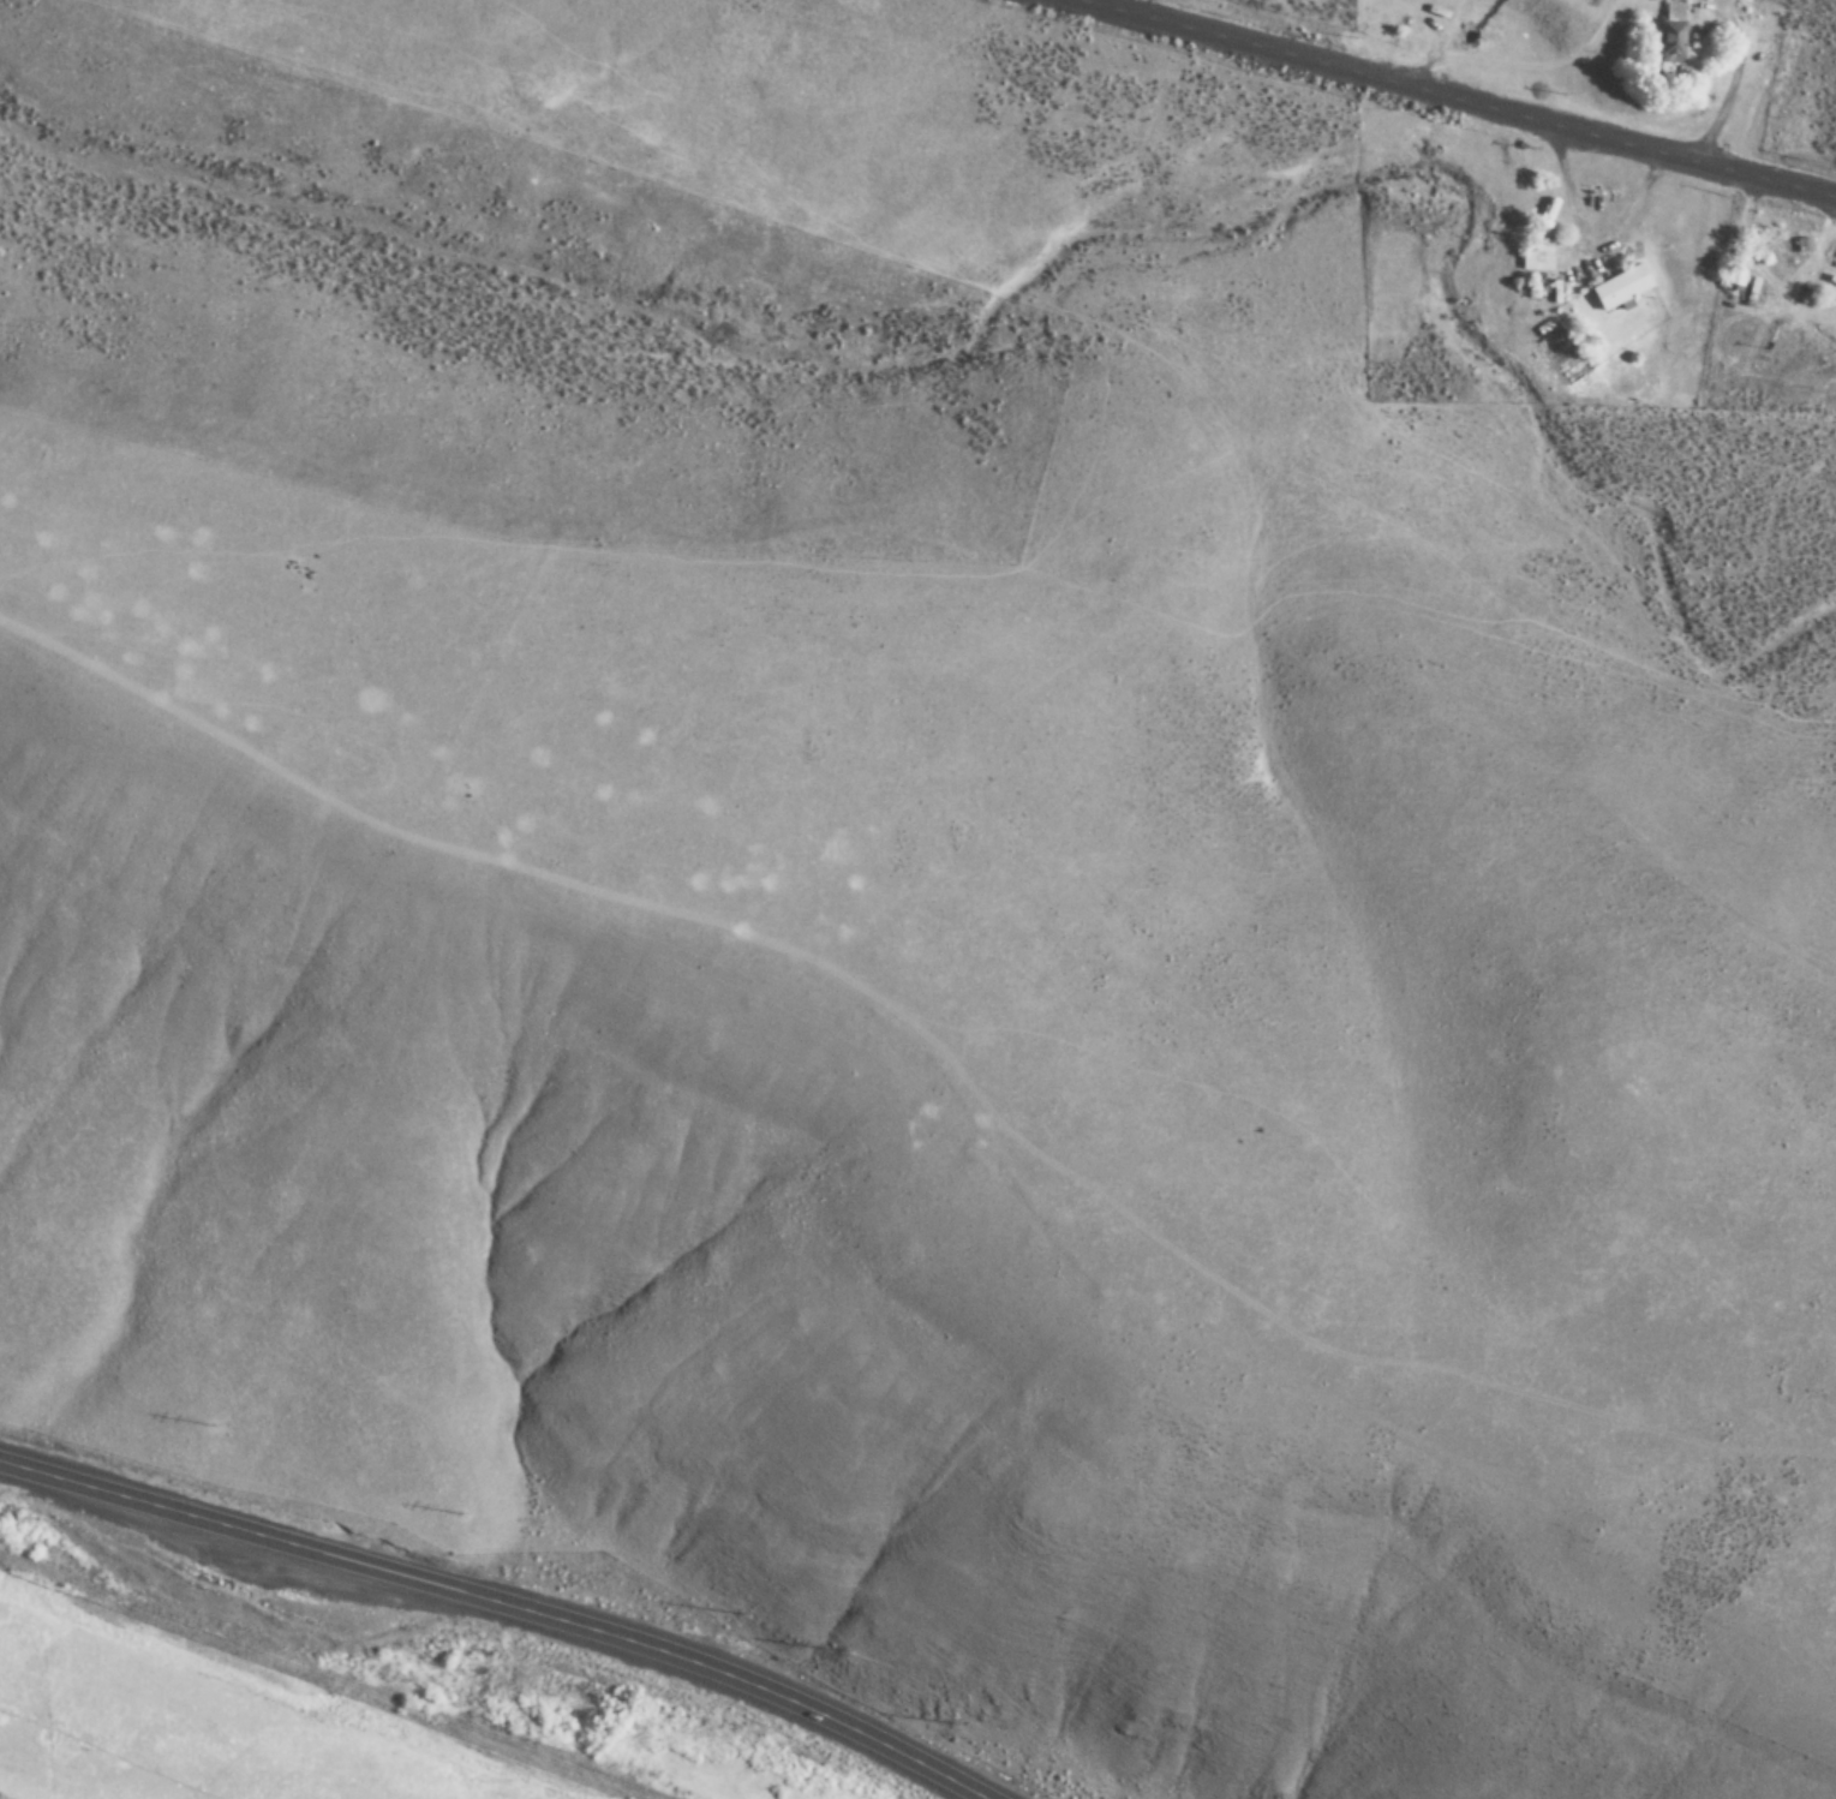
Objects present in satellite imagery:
building: (1667, 34)
road: (1460, 98)
building: (1535, 216)
building: (1786, 255)
building: (1532, 258)
building: (1616, 289)
road: (503, 1604)

